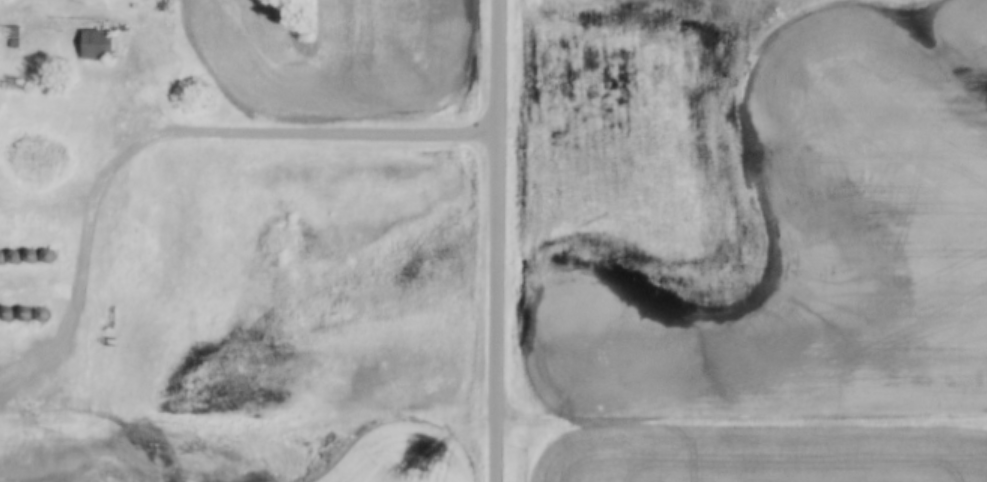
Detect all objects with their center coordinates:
building: (165, 5)
building: (98, 43)
road: (163, 132)
road: (494, 240)
road: (740, 421)

